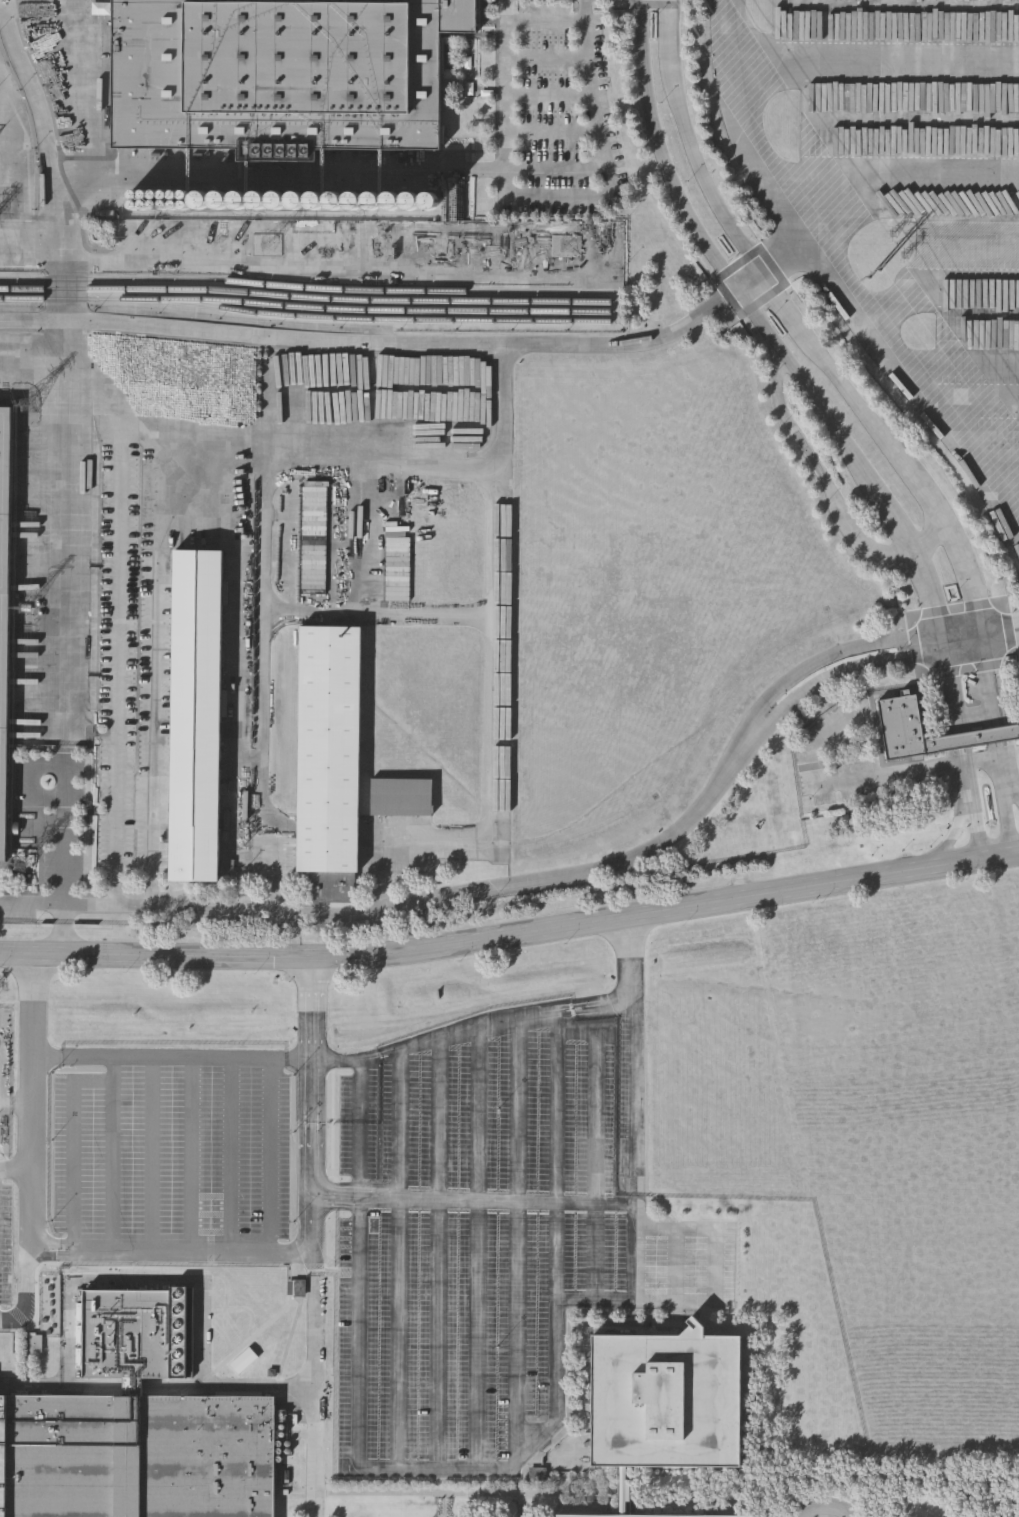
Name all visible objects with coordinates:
building: (281, 71)
road: (504, 84)
road: (35, 97)
road: (741, 129)
road: (698, 139)
road: (662, 151)
road: (82, 165)
road: (453, 170)
building: (241, 181)
power tower: (896, 246)
power tower: (570, 249)
power tower: (874, 275)
road: (747, 277)
railway: (306, 287)
road: (939, 288)
railway: (305, 298)
railway: (378, 310)
railway: (304, 316)
road: (26, 322)
road: (402, 340)
road: (897, 361)
road: (972, 398)
road: (338, 465)
road: (62, 520)
road: (952, 532)
road: (911, 549)
building: (4, 604)
road: (383, 613)
road: (1001, 629)
road: (1001, 636)
road: (947, 640)
road: (265, 643)
road: (124, 656)
road: (821, 661)
road: (155, 666)
road: (829, 678)
building: (197, 716)
road: (502, 737)
building: (971, 739)
building: (330, 761)
road: (868, 779)
road: (1014, 792)
building: (400, 796)
road: (956, 836)
road: (409, 902)
road: (62, 929)
road: (512, 936)
road: (634, 974)
road: (576, 1005)
road: (577, 1013)
road: (439, 1040)
road: (248, 1059)
road: (33, 1079)
road: (635, 1089)
road: (360, 1119)
road: (596, 1145)
road: (74, 1146)
road: (114, 1154)
road: (153, 1155)
road: (192, 1155)
road: (234, 1155)
road: (559, 1159)
road: (709, 1231)
road: (318, 1237)
road: (516, 1243)
road: (479, 1248)
road: (173, 1251)
road: (441, 1254)
road: (28, 1257)
road: (399, 1258)
road: (637, 1262)
road: (676, 1266)
road: (158, 1283)
road: (363, 1333)
building: (666, 1406)
building: (137, 1454)
road: (439, 1468)
building: (631, 1491)

